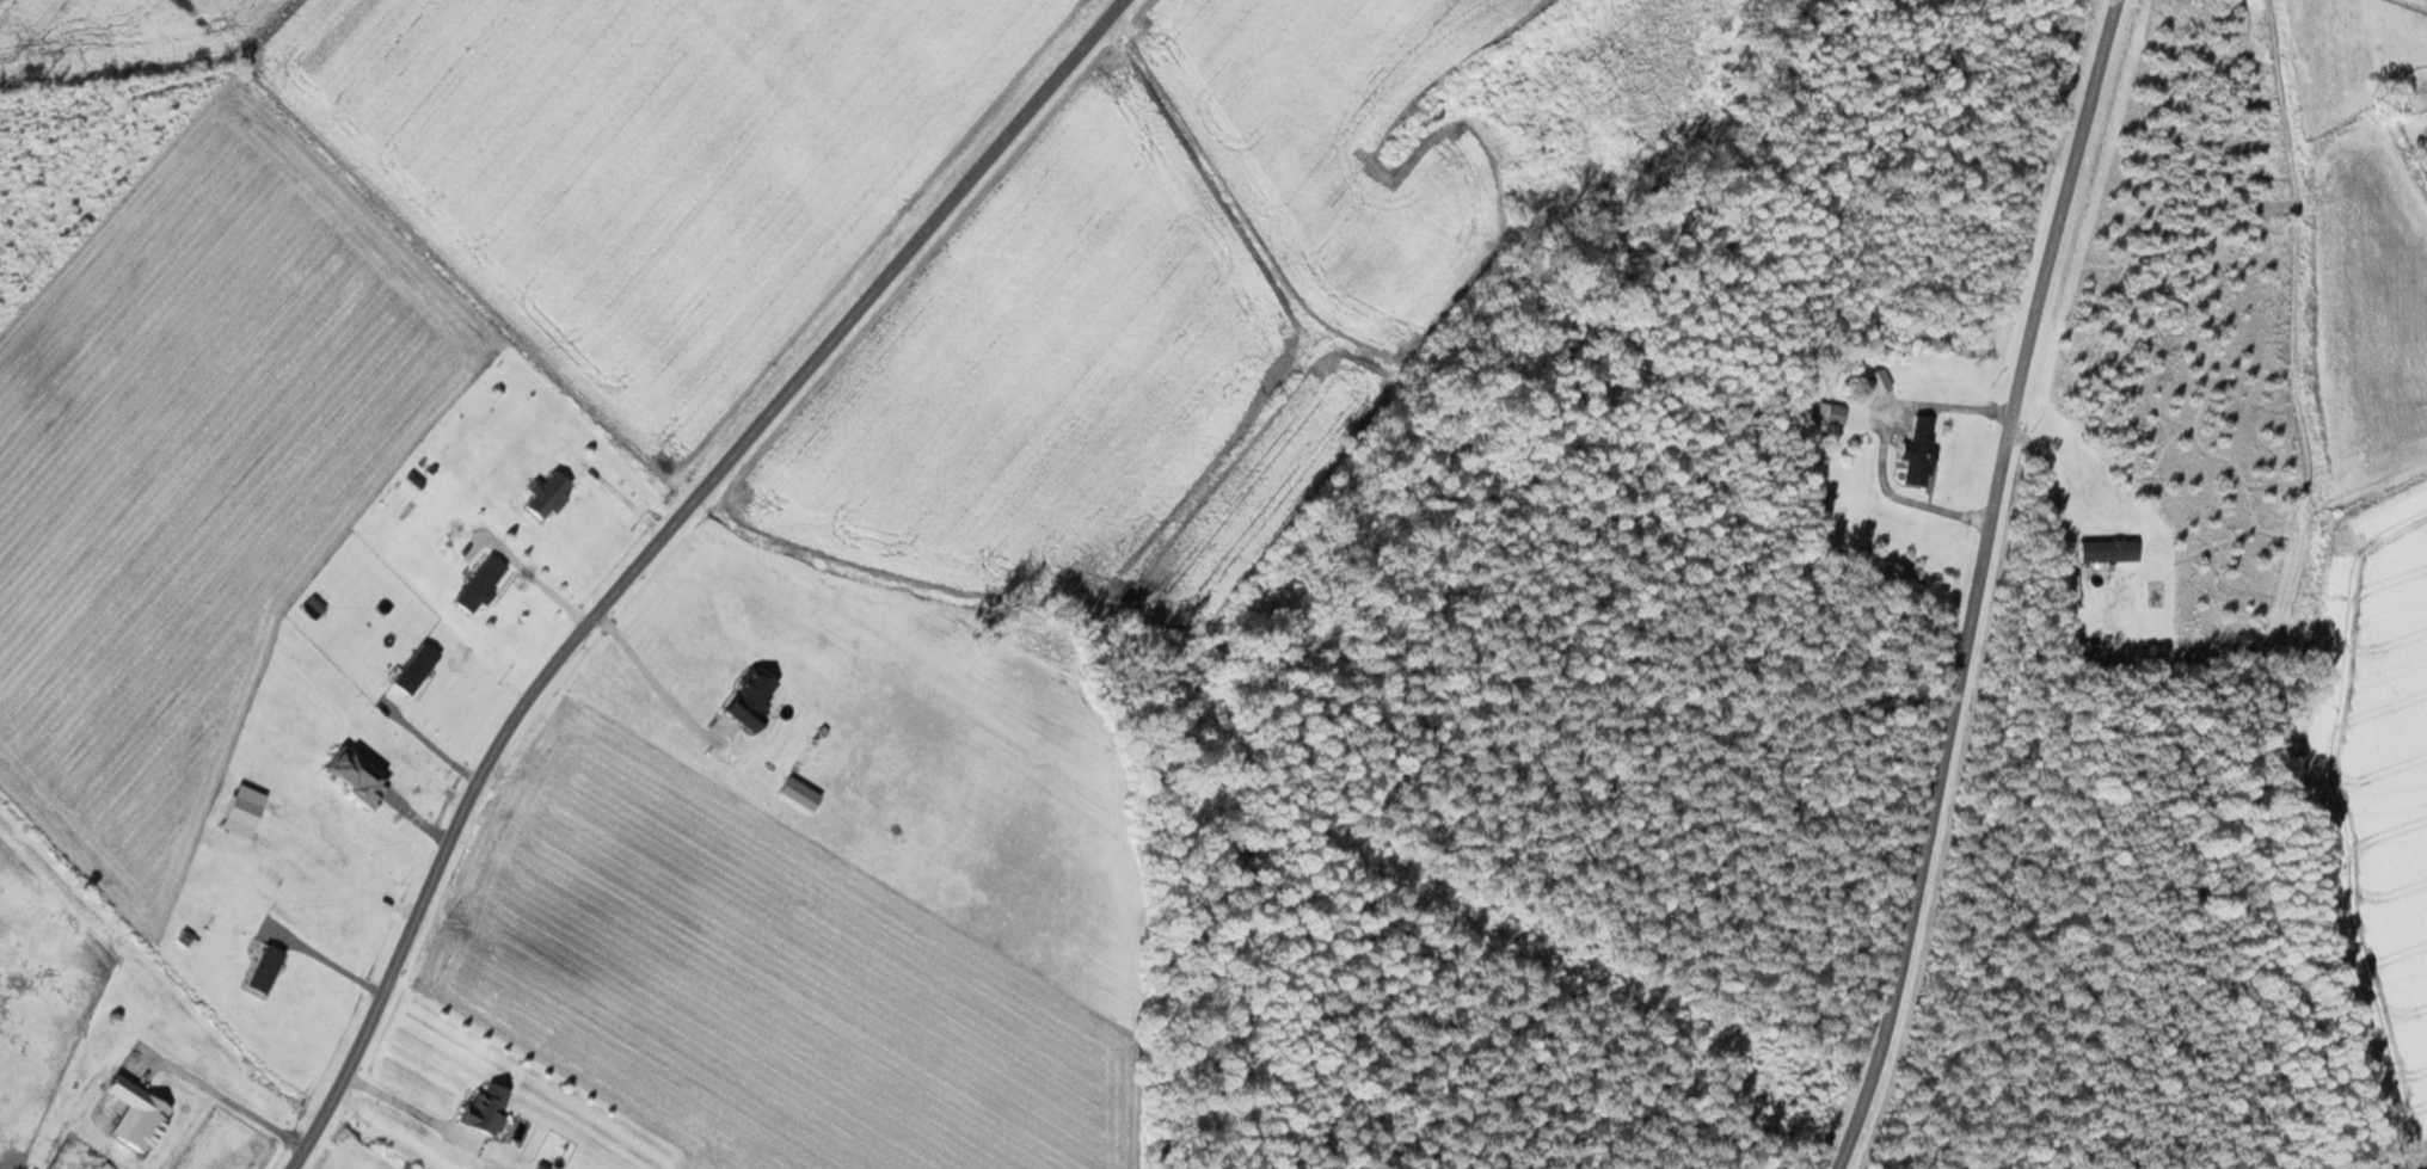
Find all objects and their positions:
building: (1876, 382)
building: (1918, 453)
building: (546, 496)
road: (658, 547)
building: (2106, 556)
road: (1974, 584)
building: (478, 585)
building: (2078, 646)
building: (413, 670)
building: (480, 1109)
building: (116, 1167)

